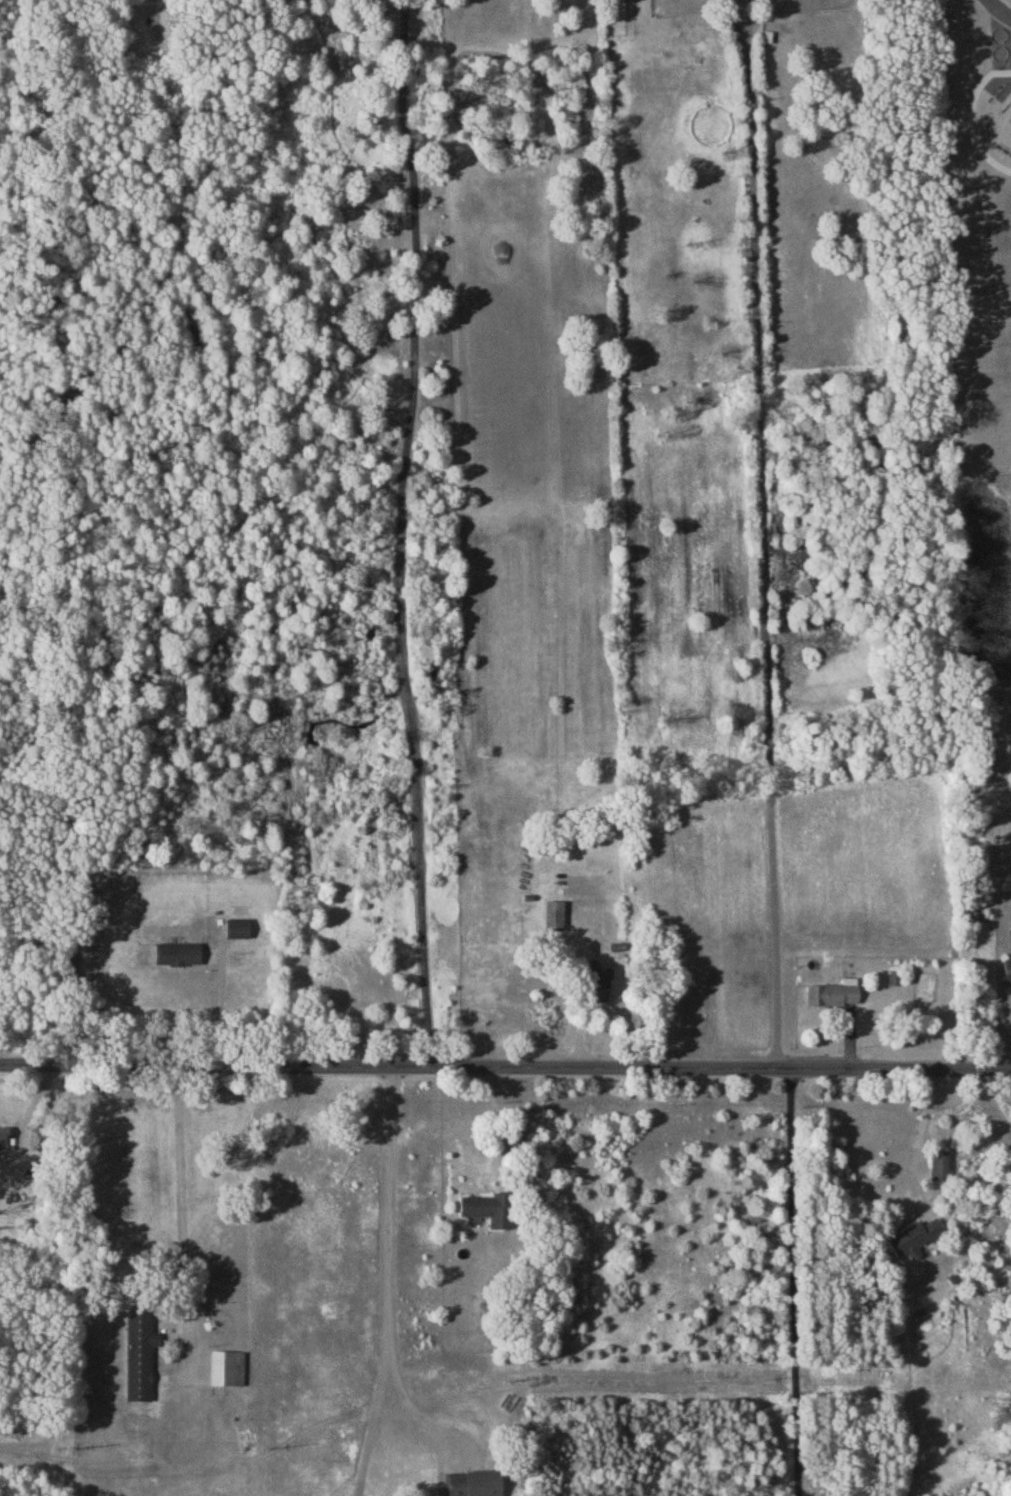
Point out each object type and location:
road: (738, 30)
road: (751, 30)
road: (971, 117)
road: (400, 532)
road: (762, 564)
building: (553, 914)
building: (237, 927)
building: (177, 952)
building: (1007, 969)
building: (893, 976)
building: (598, 988)
building: (833, 992)
road: (222, 1001)
road: (505, 1066)
road: (498, 1121)
building: (2, 1132)
road: (918, 1136)
building: (938, 1164)
road: (183, 1199)
building: (484, 1209)
building: (914, 1237)
road: (385, 1282)
road: (797, 1282)
building: (139, 1353)
building: (227, 1367)
building: (474, 1483)

